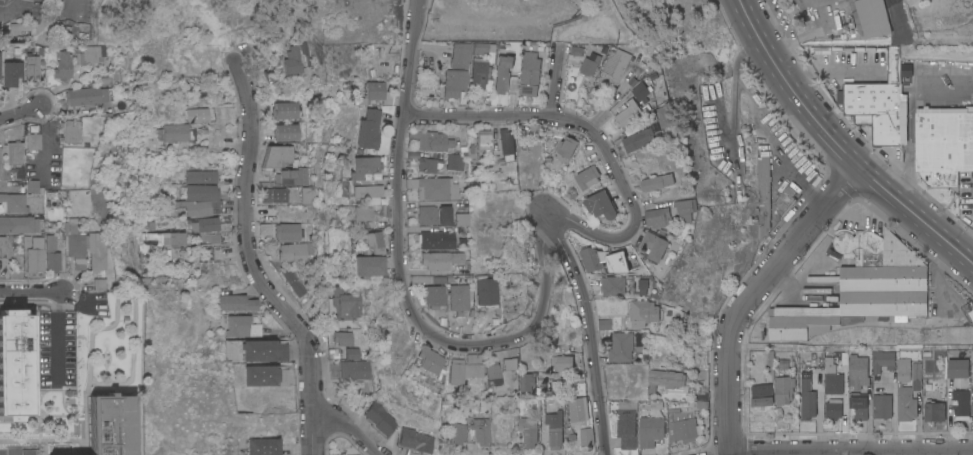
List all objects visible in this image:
road: (13, 9)
road: (501, 17)
building: (872, 17)
building: (71, 19)
park: (203, 19)
building: (19, 26)
building: (483, 47)
building: (87, 54)
building: (293, 60)
building: (589, 64)
building: (616, 65)
building: (62, 66)
building: (456, 68)
building: (31, 69)
building: (478, 71)
building: (10, 73)
building: (530, 75)
building: (501, 78)
road: (793, 89)
building: (372, 91)
building: (641, 92)
road: (733, 95)
building: (82, 96)
building: (878, 104)
building: (285, 110)
road: (21, 112)
building: (628, 113)
building: (195, 115)
road: (477, 117)
building: (657, 117)
building: (368, 130)
building: (70, 131)
building: (174, 132)
building: (286, 132)
building: (432, 139)
building: (481, 139)
building: (638, 139)
building: (943, 139)
road: (44, 140)
building: (33, 141)
building: (506, 145)
building: (565, 149)
building: (14, 153)
building: (278, 155)
building: (454, 162)
building: (364, 165)
building: (429, 165)
building: (158, 176)
building: (205, 176)
building: (588, 177)
building: (657, 182)
building: (294, 183)
building: (32, 186)
building: (433, 188)
building: (368, 190)
building: (271, 195)
building: (763, 195)
building: (200, 200)
building: (784, 200)
building: (13, 202)
building: (601, 206)
building: (685, 209)
building: (460, 212)
building: (363, 213)
building: (427, 215)
building: (444, 215)
road: (916, 215)
building: (658, 217)
building: (19, 224)
building: (208, 224)
road: (579, 226)
building: (288, 231)
building: (207, 238)
building: (436, 239)
building: (159, 240)
building: (20, 243)
building: (375, 243)
building: (655, 245)
building: (2, 246)
road: (247, 246)
building: (76, 248)
road: (967, 248)
building: (297, 253)
building: (35, 255)
building: (52, 255)
building: (591, 258)
building: (616, 262)
building: (444, 263)
building: (369, 266)
building: (428, 279)
building: (295, 280)
road: (401, 280)
building: (97, 284)
building: (510, 285)
building: (612, 286)
building: (642, 286)
building: (863, 287)
road: (31, 292)
building: (486, 292)
road: (749, 294)
building: (433, 295)
building: (458, 298)
building: (238, 303)
building: (345, 305)
building: (642, 312)
building: (852, 320)
building: (409, 322)
building: (604, 324)
building: (238, 325)
road: (58, 335)
building: (349, 338)
building: (621, 346)
building: (259, 350)
building: (283, 351)
building: (355, 353)
building: (429, 359)
building: (769, 360)
building: (882, 360)
building: (562, 362)
building: (14, 363)
building: (510, 364)
building: (474, 365)
building: (830, 365)
building: (858, 368)
building: (958, 368)
building: (903, 369)
building: (356, 370)
building: (455, 371)
building: (493, 372)
building: (261, 375)
building: (916, 375)
building: (283, 376)
building: (665, 379)
building: (527, 382)
building: (834, 383)
building: (579, 388)
building: (784, 390)
building: (762, 395)
building: (807, 397)
building: (961, 403)
building: (533, 404)
building: (906, 404)
building: (859, 405)
building: (882, 406)
building: (578, 409)
building: (833, 409)
building: (934, 412)
building: (381, 418)
building: (110, 424)
building: (626, 424)
road: (350, 425)
building: (682, 425)
building: (530, 430)
building: (553, 430)
building: (651, 430)
building: (480, 431)
building: (458, 433)
building: (586, 436)
road: (314, 437)
building: (416, 440)
building: (262, 446)
road: (844, 450)
road: (14, 453)

